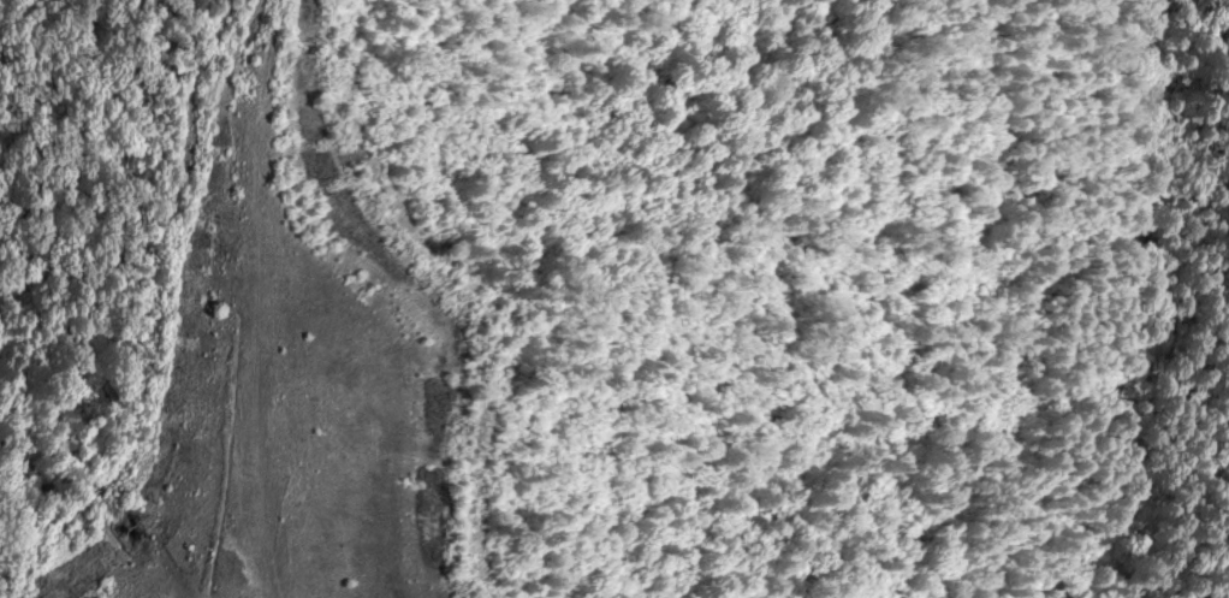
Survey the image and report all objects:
quarry: (291, 344)

